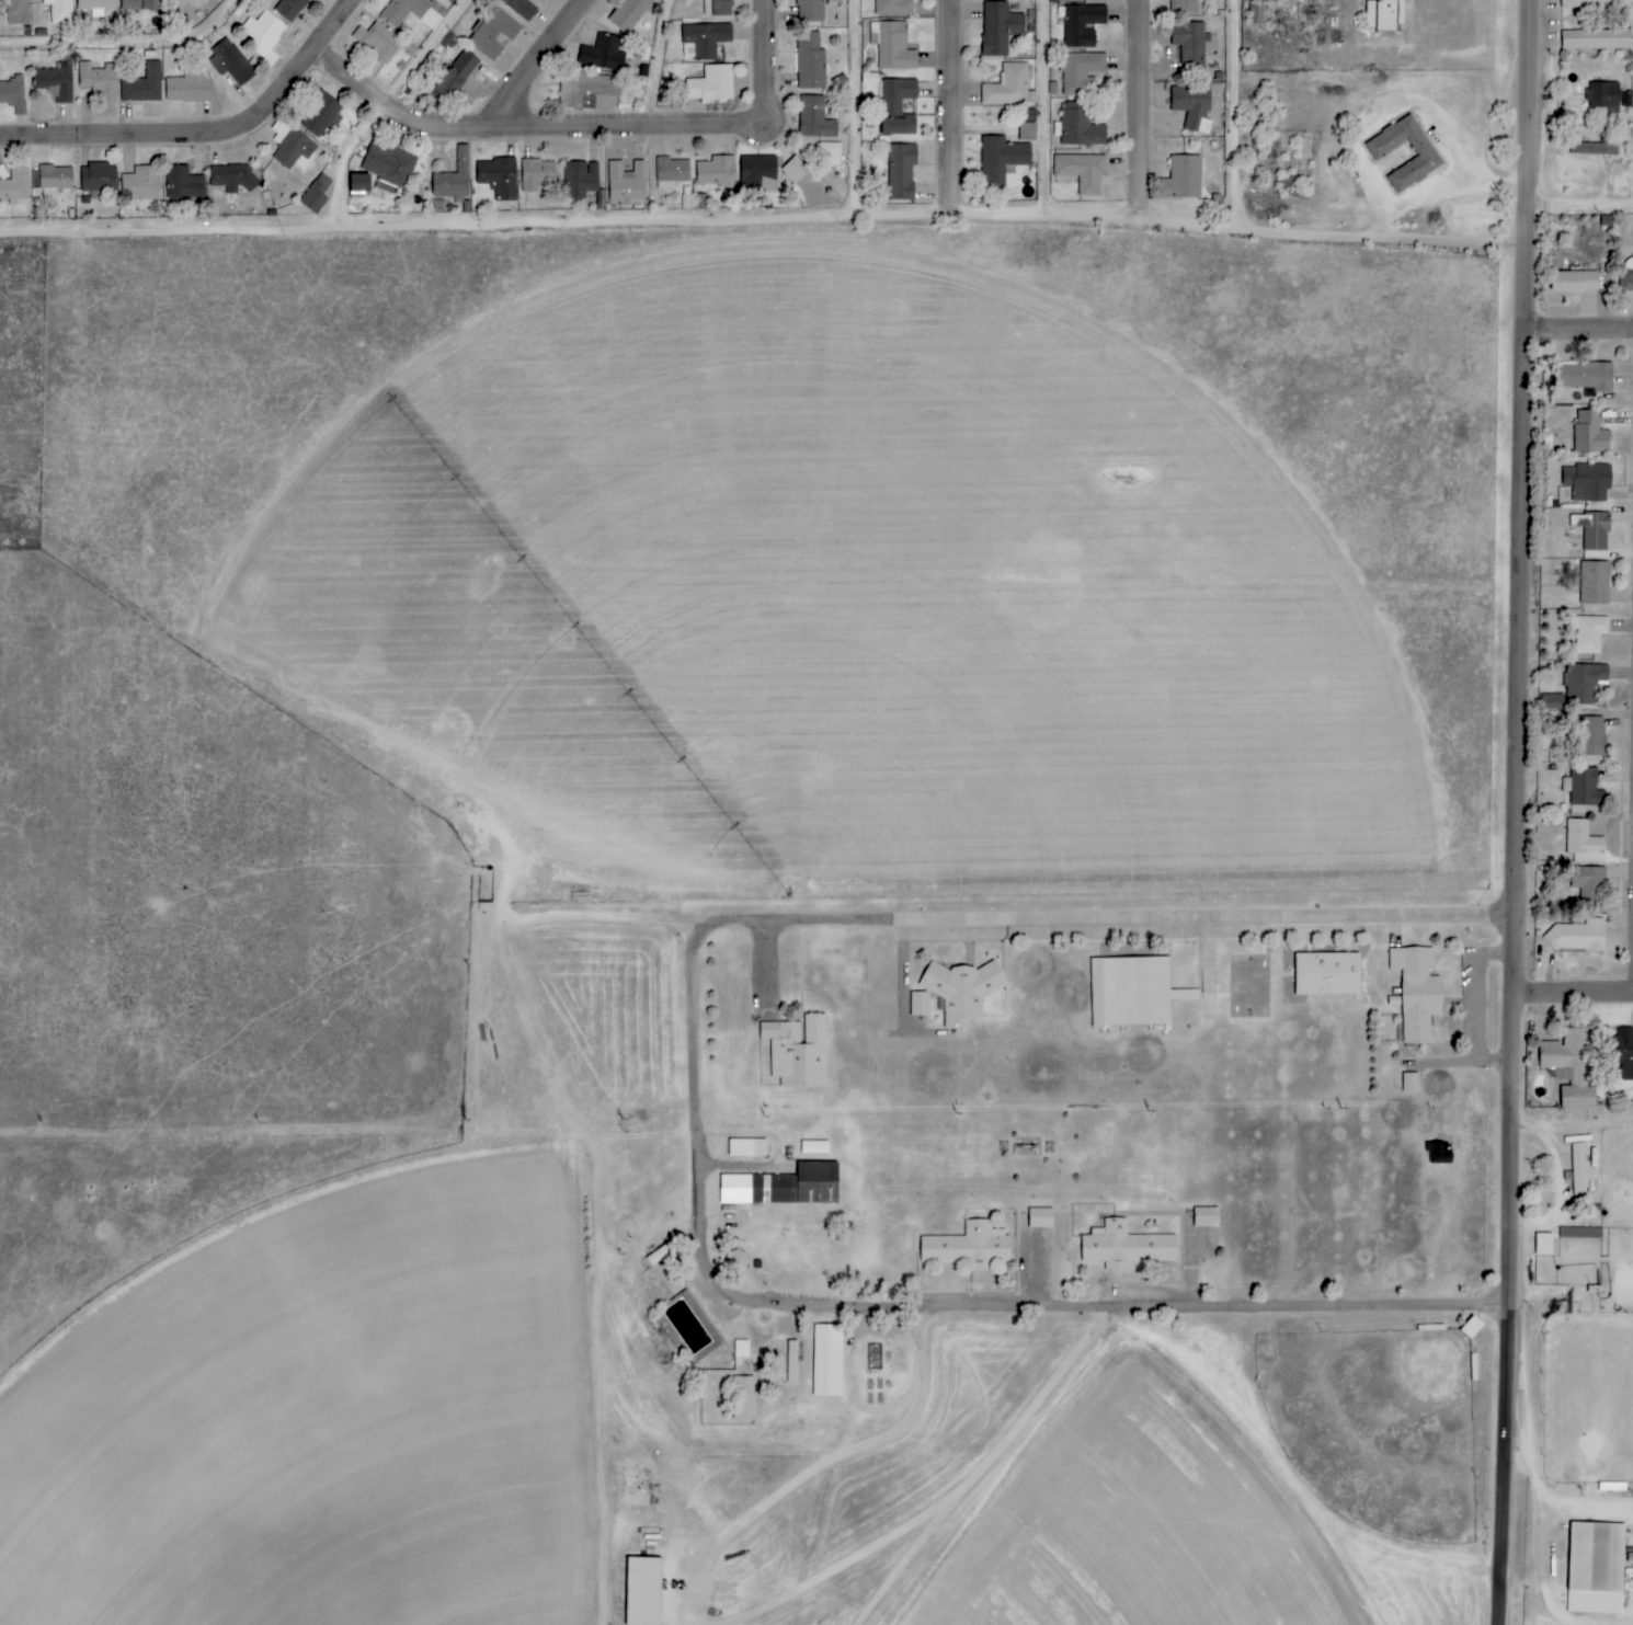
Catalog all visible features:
building: (171, 0)
building: (1080, 0)
building: (1595, 3)
building: (139, 4)
building: (95, 7)
building: (1186, 7)
building: (289, 8)
building: (521, 8)
building: (716, 8)
building: (894, 8)
building: (59, 11)
building: (810, 11)
building: (16, 12)
building: (412, 12)
building: (629, 14)
building: (1256, 14)
building: (1383, 14)
building: (1082, 25)
building: (1000, 27)
building: (263, 32)
building: (492, 33)
building: (1597, 39)
building: (704, 41)
building: (1190, 43)
road: (125, 45)
building: (892, 46)
building: (385, 50)
building: (605, 54)
building: (810, 61)
building: (231, 62)
road: (662, 62)
road: (537, 65)
building: (1082, 72)
building: (454, 73)
building: (98, 79)
building: (55, 82)
building: (142, 85)
building: (711, 85)
building: (187, 87)
building: (1009, 87)
building: (584, 88)
building: (13, 94)
building: (1605, 96)
building: (898, 106)
road: (390, 107)
building: (1192, 107)
road: (863, 111)
road: (957, 111)
road: (1051, 111)
road: (1141, 112)
building: (320, 115)
building: (1029, 116)
road: (1243, 116)
building: (814, 118)
building: (1081, 126)
road: (594, 131)
road: (207, 133)
building: (1027, 133)
building: (292, 147)
building: (1598, 147)
building: (1381, 150)
building: (830, 155)
building: (1001, 160)
building: (389, 167)
building: (795, 170)
building: (716, 171)
building: (901, 171)
building: (1082, 171)
building: (672, 172)
building: (757, 173)
building: (536, 174)
building: (52, 178)
building: (498, 178)
building: (1183, 178)
building: (453, 179)
building: (98, 180)
building: (230, 180)
building: (580, 180)
building: (358, 183)
building: (626, 183)
building: (140, 184)
building: (183, 184)
building: (15, 186)
building: (316, 194)
building: (464, 206)
road: (1585, 208)
road: (941, 221)
road: (174, 236)
building: (1628, 281)
building: (1574, 282)
road: (1583, 329)
building: (1585, 377)
building: (1589, 434)
building: (1588, 482)
building: (1592, 533)
building: (1595, 583)
building: (1590, 634)
road: (1529, 665)
building: (1585, 684)
building: (1556, 701)
building: (1591, 734)
building: (1584, 788)
building: (1584, 843)
building: (1585, 881)
road: (1115, 918)
road: (602, 919)
parking lot: (1092, 929)
building: (1577, 935)
building: (1327, 974)
park: (1247, 986)
building: (962, 989)
building: (1417, 992)
building: (1133, 993)
road: (1579, 996)
building: (920, 1004)
building: (798, 1051)
building: (1622, 1052)
building: (1571, 1066)
building: (1409, 1083)
road: (1578, 1128)
building: (746, 1148)
building: (814, 1148)
building: (1438, 1153)
building: (1578, 1169)
building: (798, 1186)
building: (1206, 1217)
building: (1040, 1218)
building: (1580, 1233)
building: (1544, 1244)
building: (1124, 1247)
road: (926, 1306)
building: (827, 1361)
building: (743, 1398)
road: (1510, 1478)
building: (1596, 1568)
building: (642, 1591)

